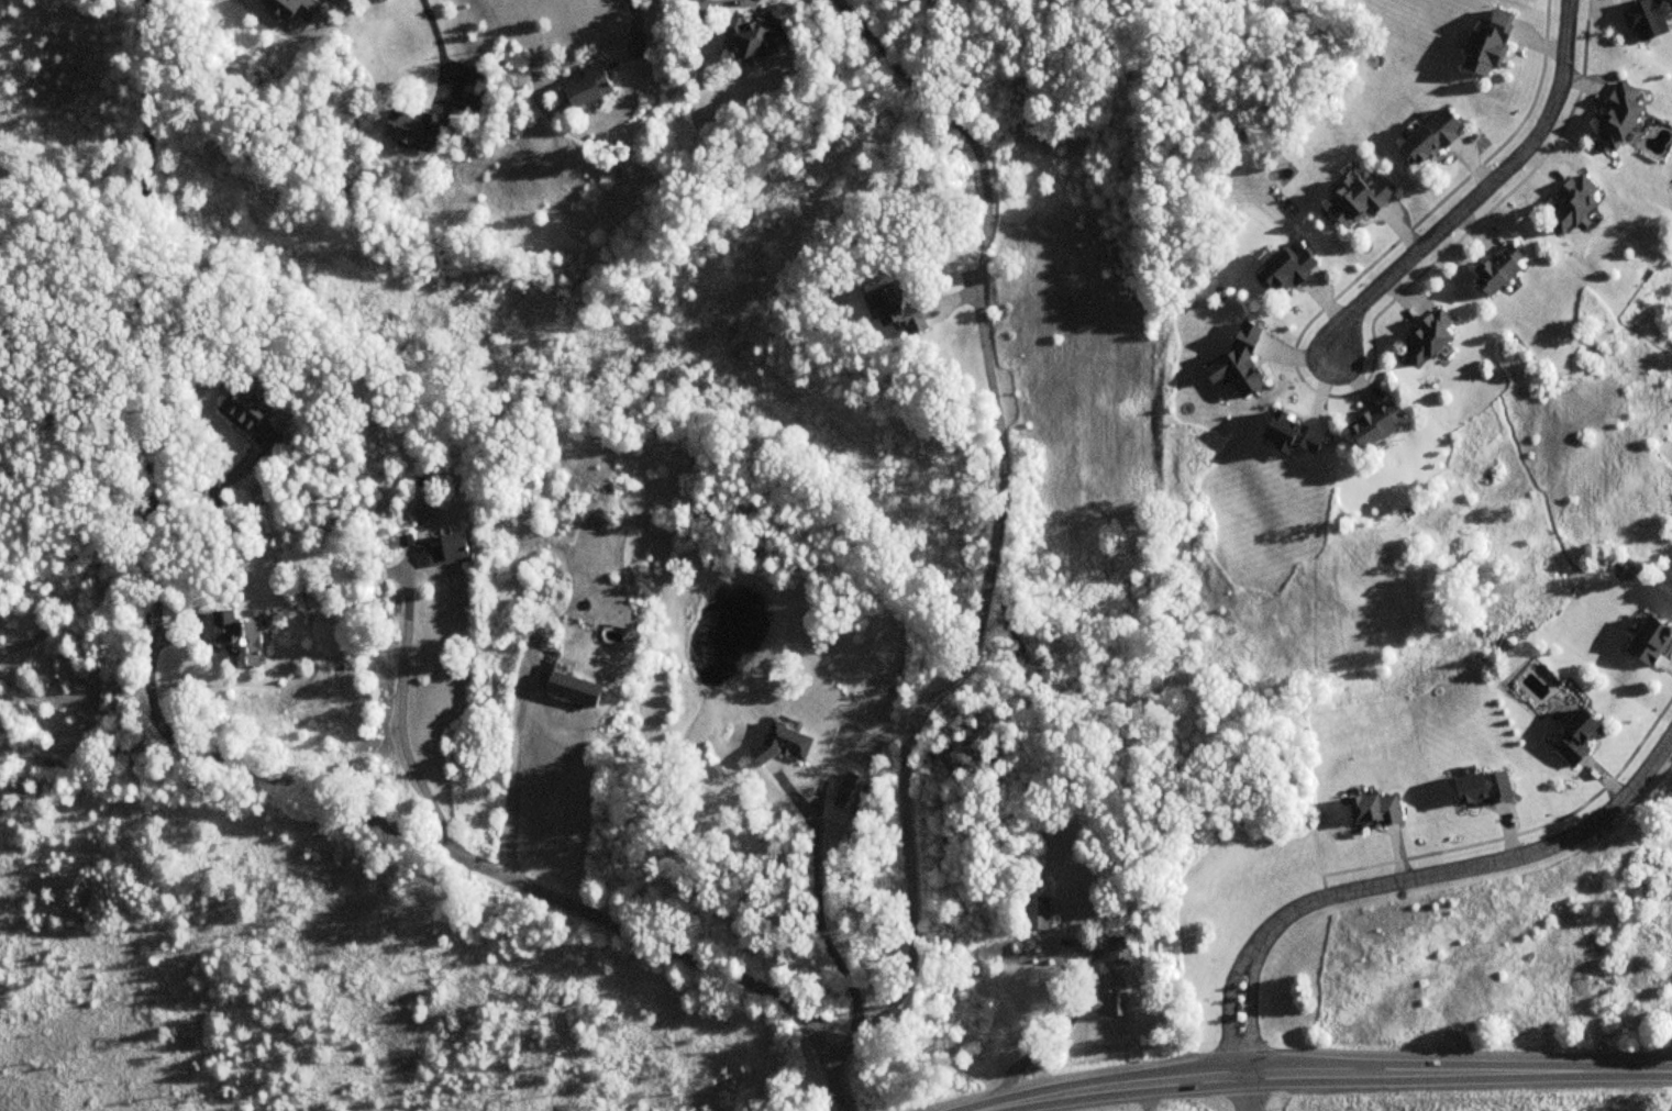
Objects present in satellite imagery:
road: (726, 5)
building: (291, 9)
building: (751, 34)
building: (1487, 44)
road: (440, 45)
building: (475, 85)
building: (588, 86)
building: (1617, 118)
building: (411, 127)
building: (1431, 136)
road: (1479, 193)
building: (1355, 200)
building: (1574, 202)
building: (1285, 269)
building: (1497, 270)
building: (895, 310)
building: (1426, 338)
road: (144, 380)
building: (251, 416)
building: (1375, 425)
building: (447, 549)
road: (993, 556)
building: (237, 637)
building: (1649, 641)
building: (572, 689)
road: (401, 711)
building: (1575, 737)
building: (780, 744)
road: (513, 775)
building: (1482, 788)
building: (851, 795)
building: (1374, 810)
road: (1470, 868)
road: (518, 885)
building: (1033, 913)
road: (821, 915)
building: (1117, 951)
building: (1107, 998)
road: (1228, 1015)
road: (1250, 1016)
road: (1052, 1040)
road: (1325, 1070)
road: (1241, 1091)
road: (1148, 1096)
park: (1462, 1102)

